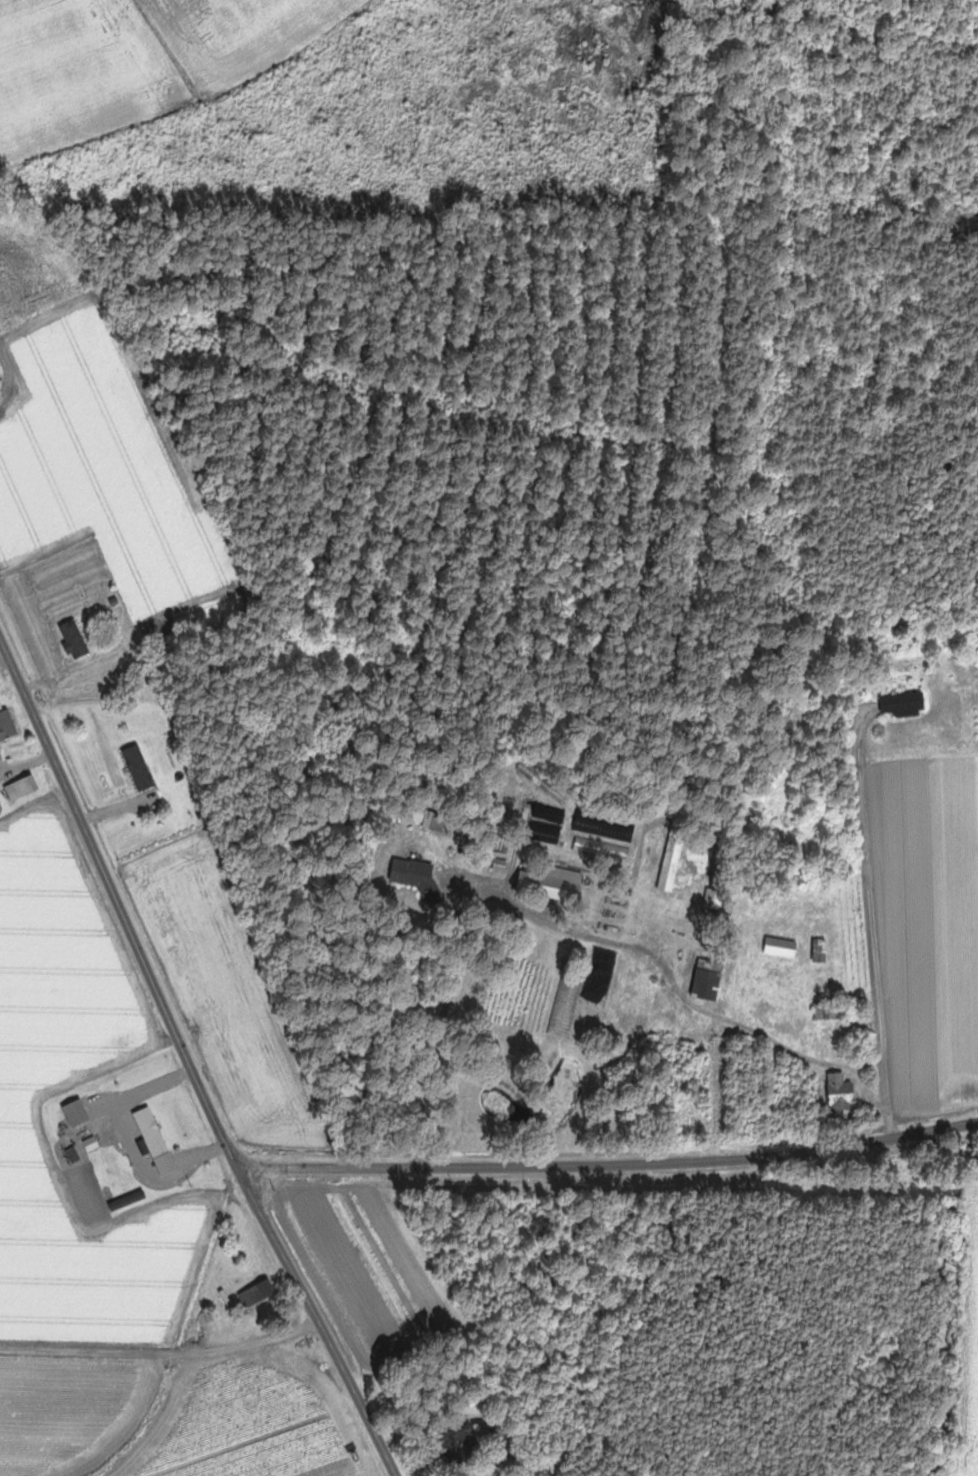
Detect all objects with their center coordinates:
building: (76, 638)
building: (906, 703)
building: (8, 726)
building: (141, 767)
building: (26, 787)
building: (552, 819)
building: (671, 864)
building: (415, 872)
building: (555, 882)
road: (874, 922)
building: (785, 947)
building: (710, 984)
road: (678, 990)
building: (567, 1007)
building: (830, 1011)
road: (188, 1062)
building: (844, 1093)
building: (82, 1118)
road: (612, 1167)
building: (261, 1293)

